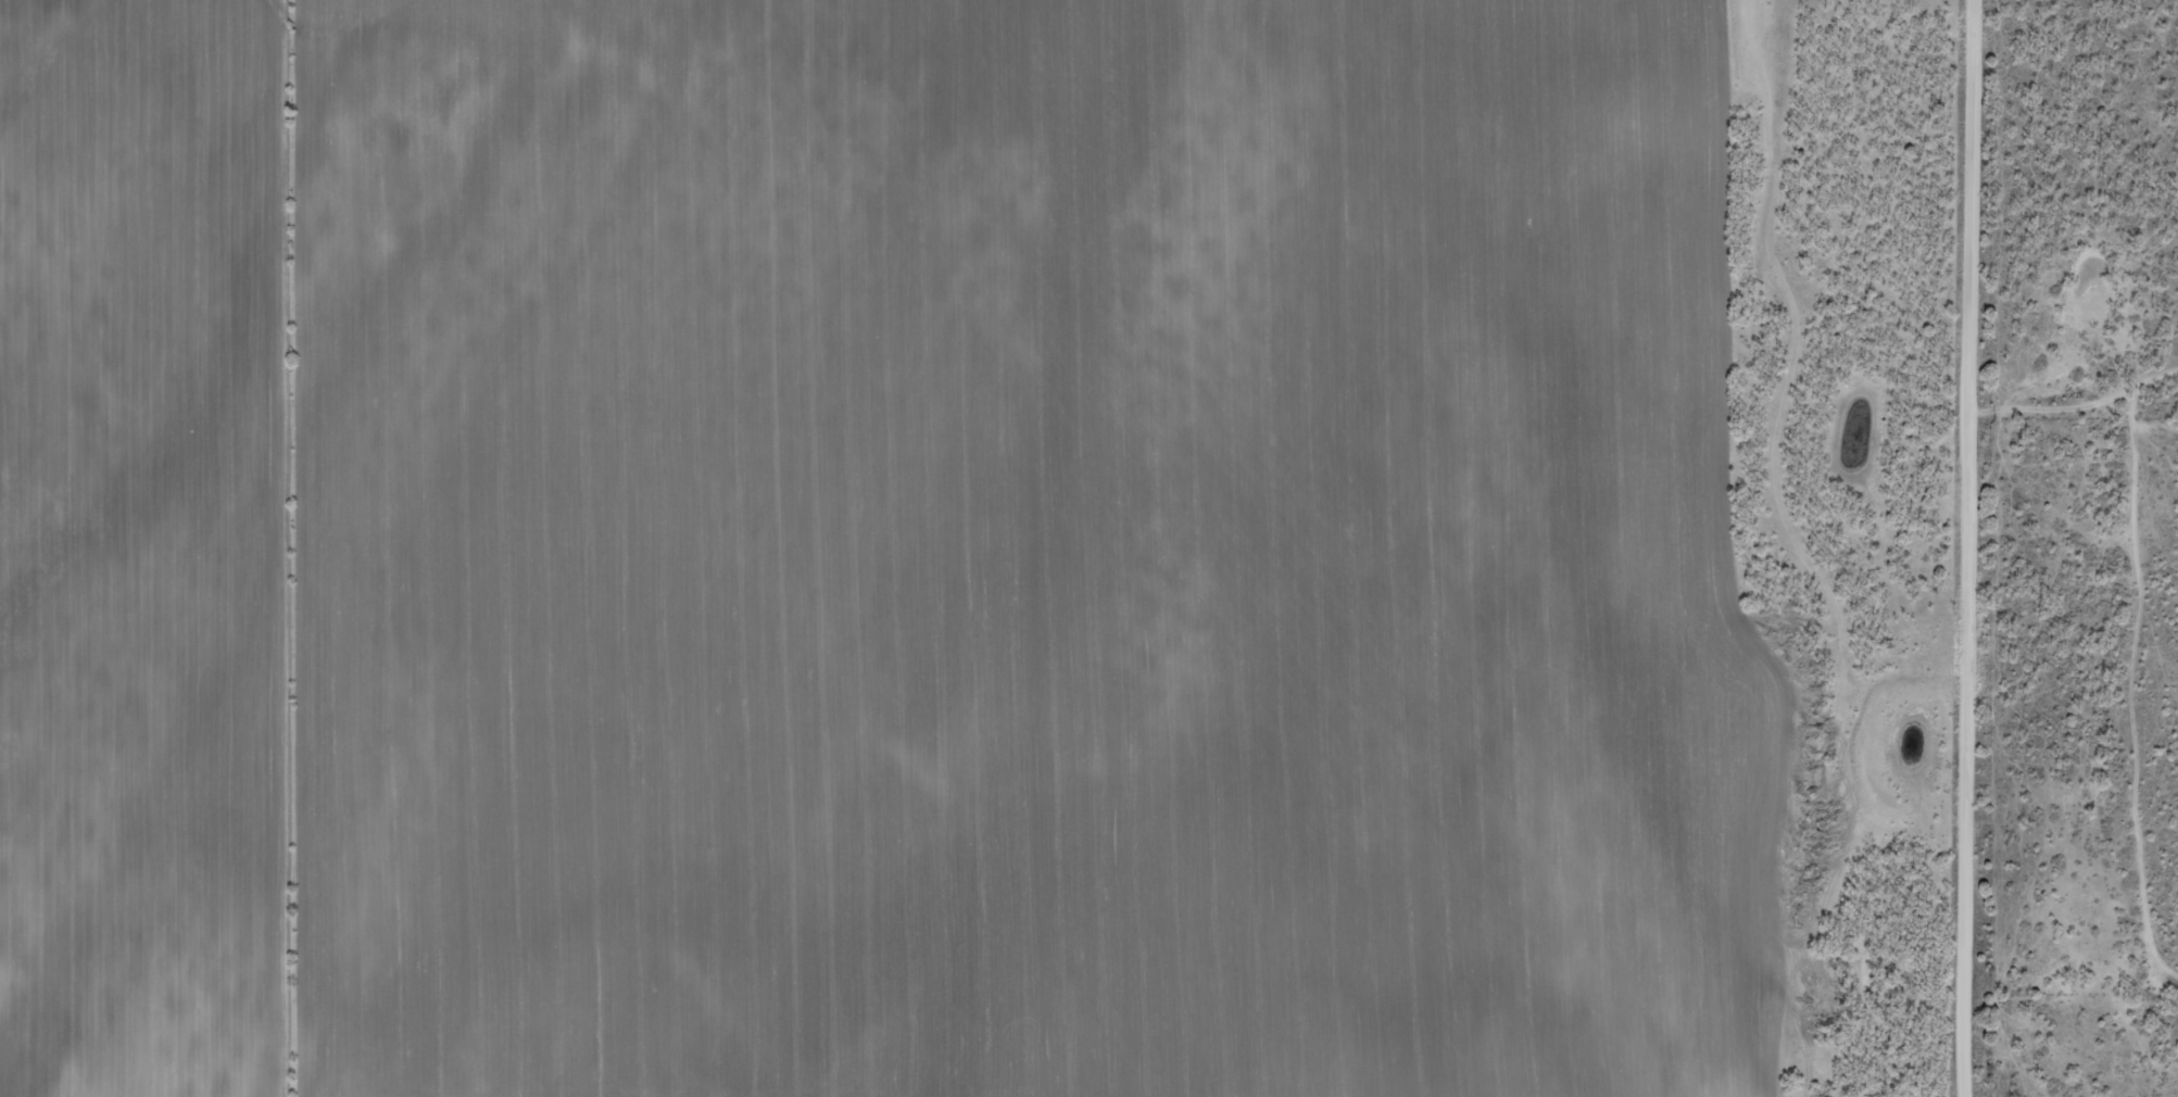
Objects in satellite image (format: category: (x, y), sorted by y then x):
road: (2088, 403)
road: (1993, 547)

